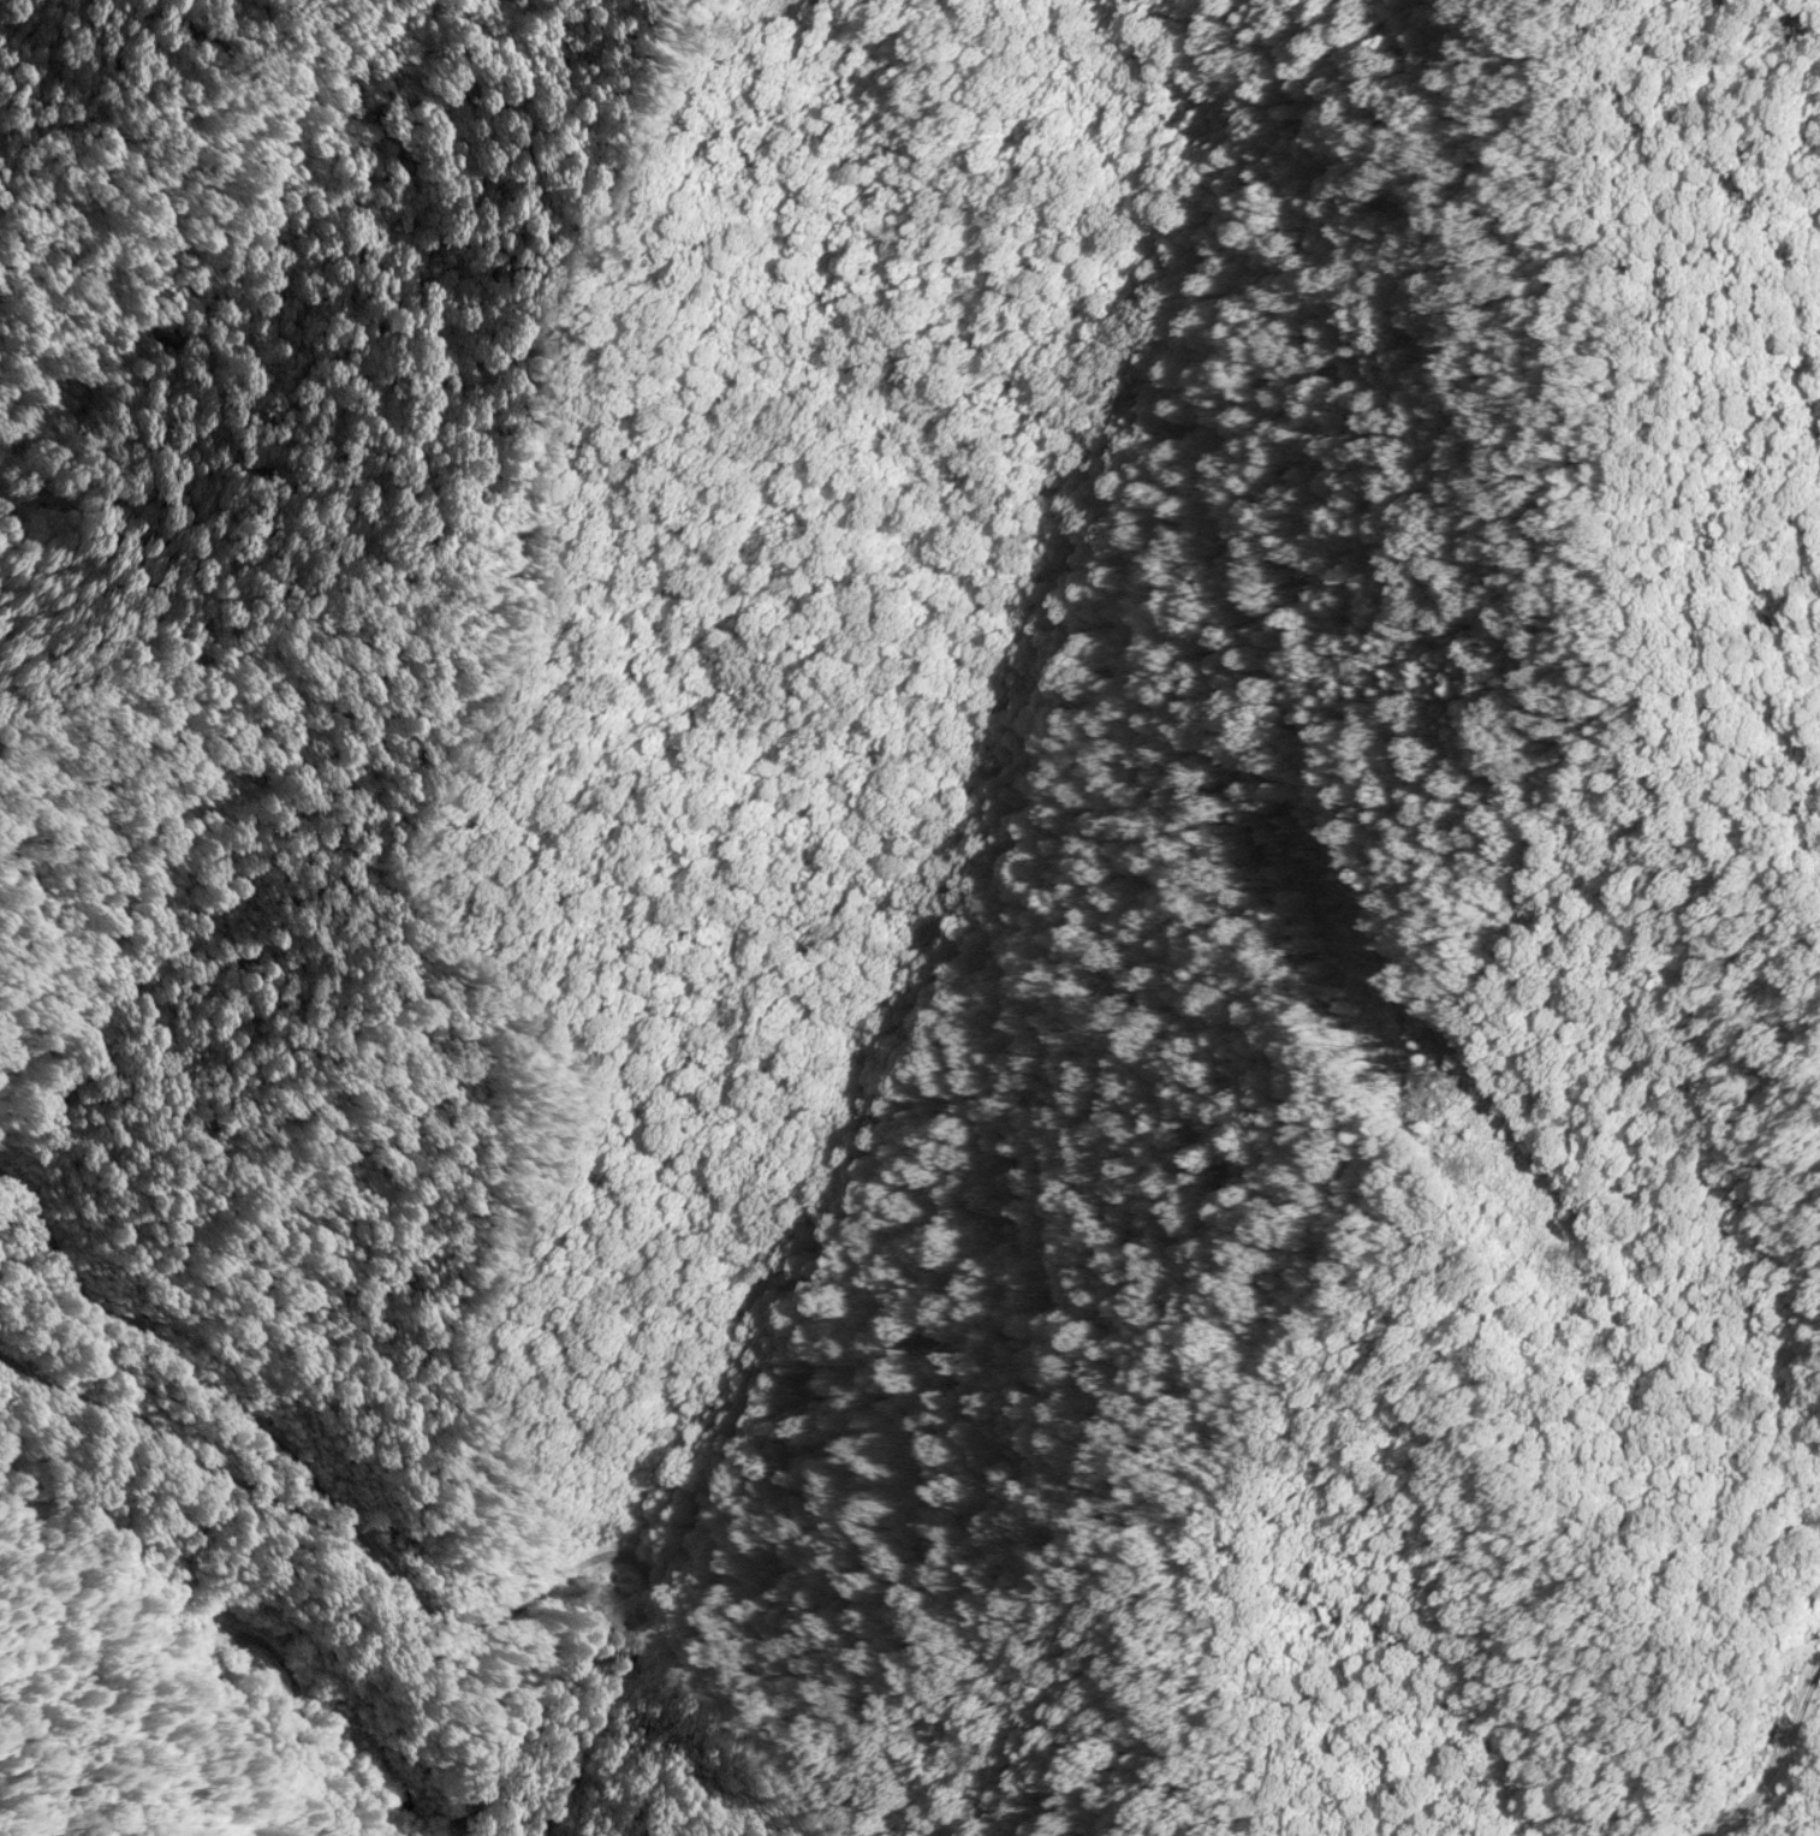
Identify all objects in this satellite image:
road: (446, 1577)

